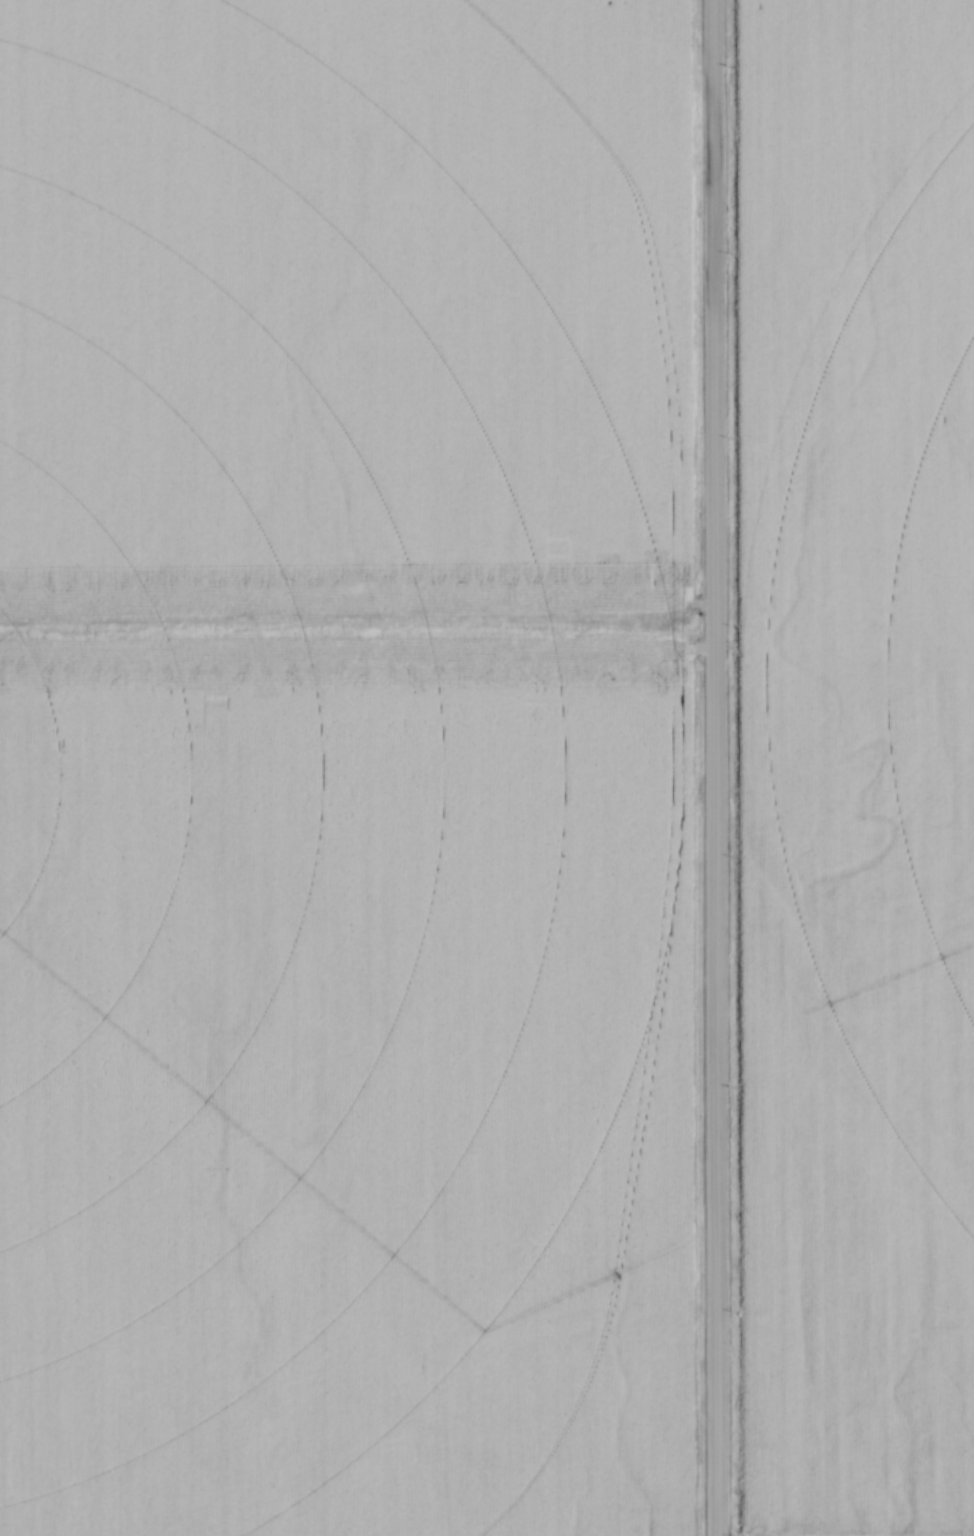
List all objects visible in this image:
road: (713, 768)

